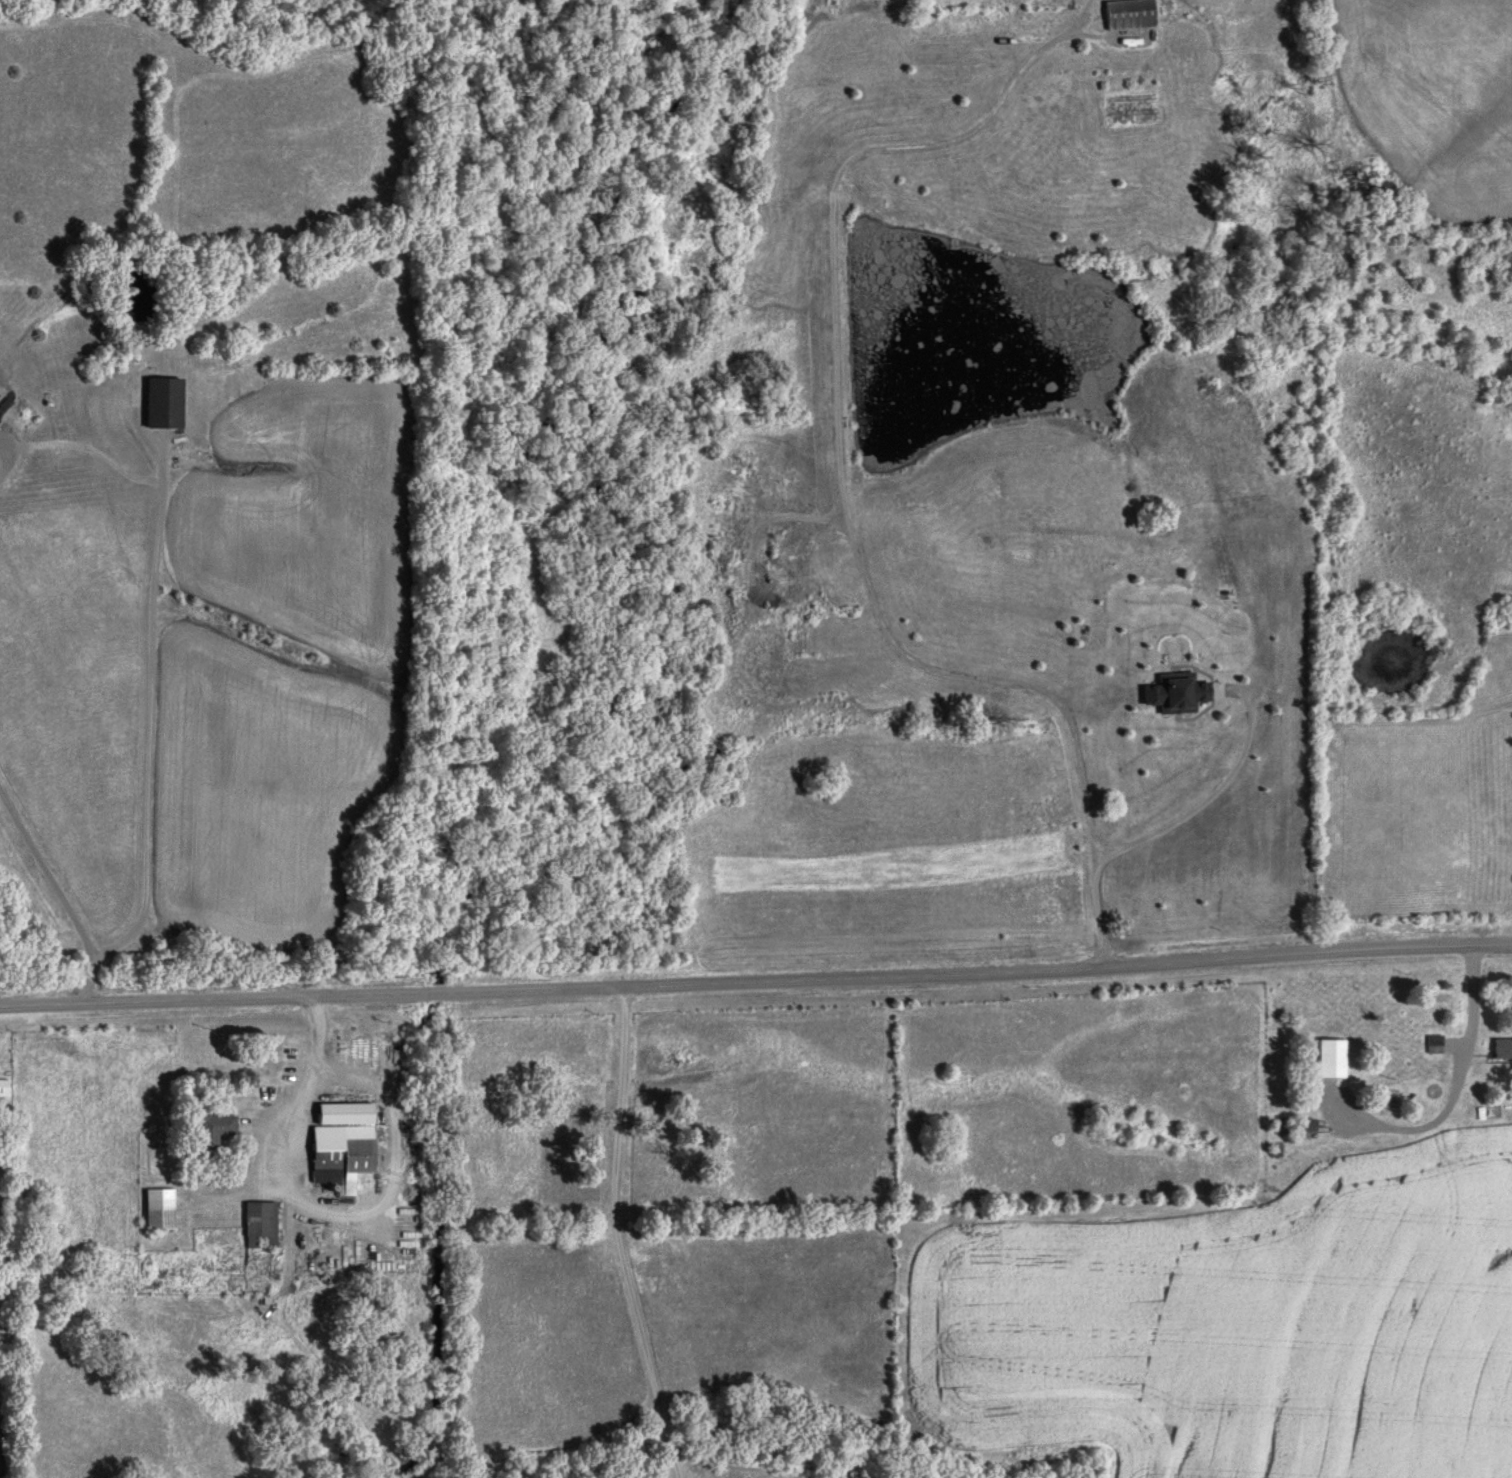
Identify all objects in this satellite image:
building: (1127, 14)
building: (161, 402)
road: (1183, 447)
road: (756, 982)
building: (1434, 1044)
building: (1502, 1047)
building: (1328, 1057)
building: (3, 1086)
building: (1304, 1124)
building: (213, 1128)
building: (338, 1154)
building: (156, 1208)
building: (259, 1224)

